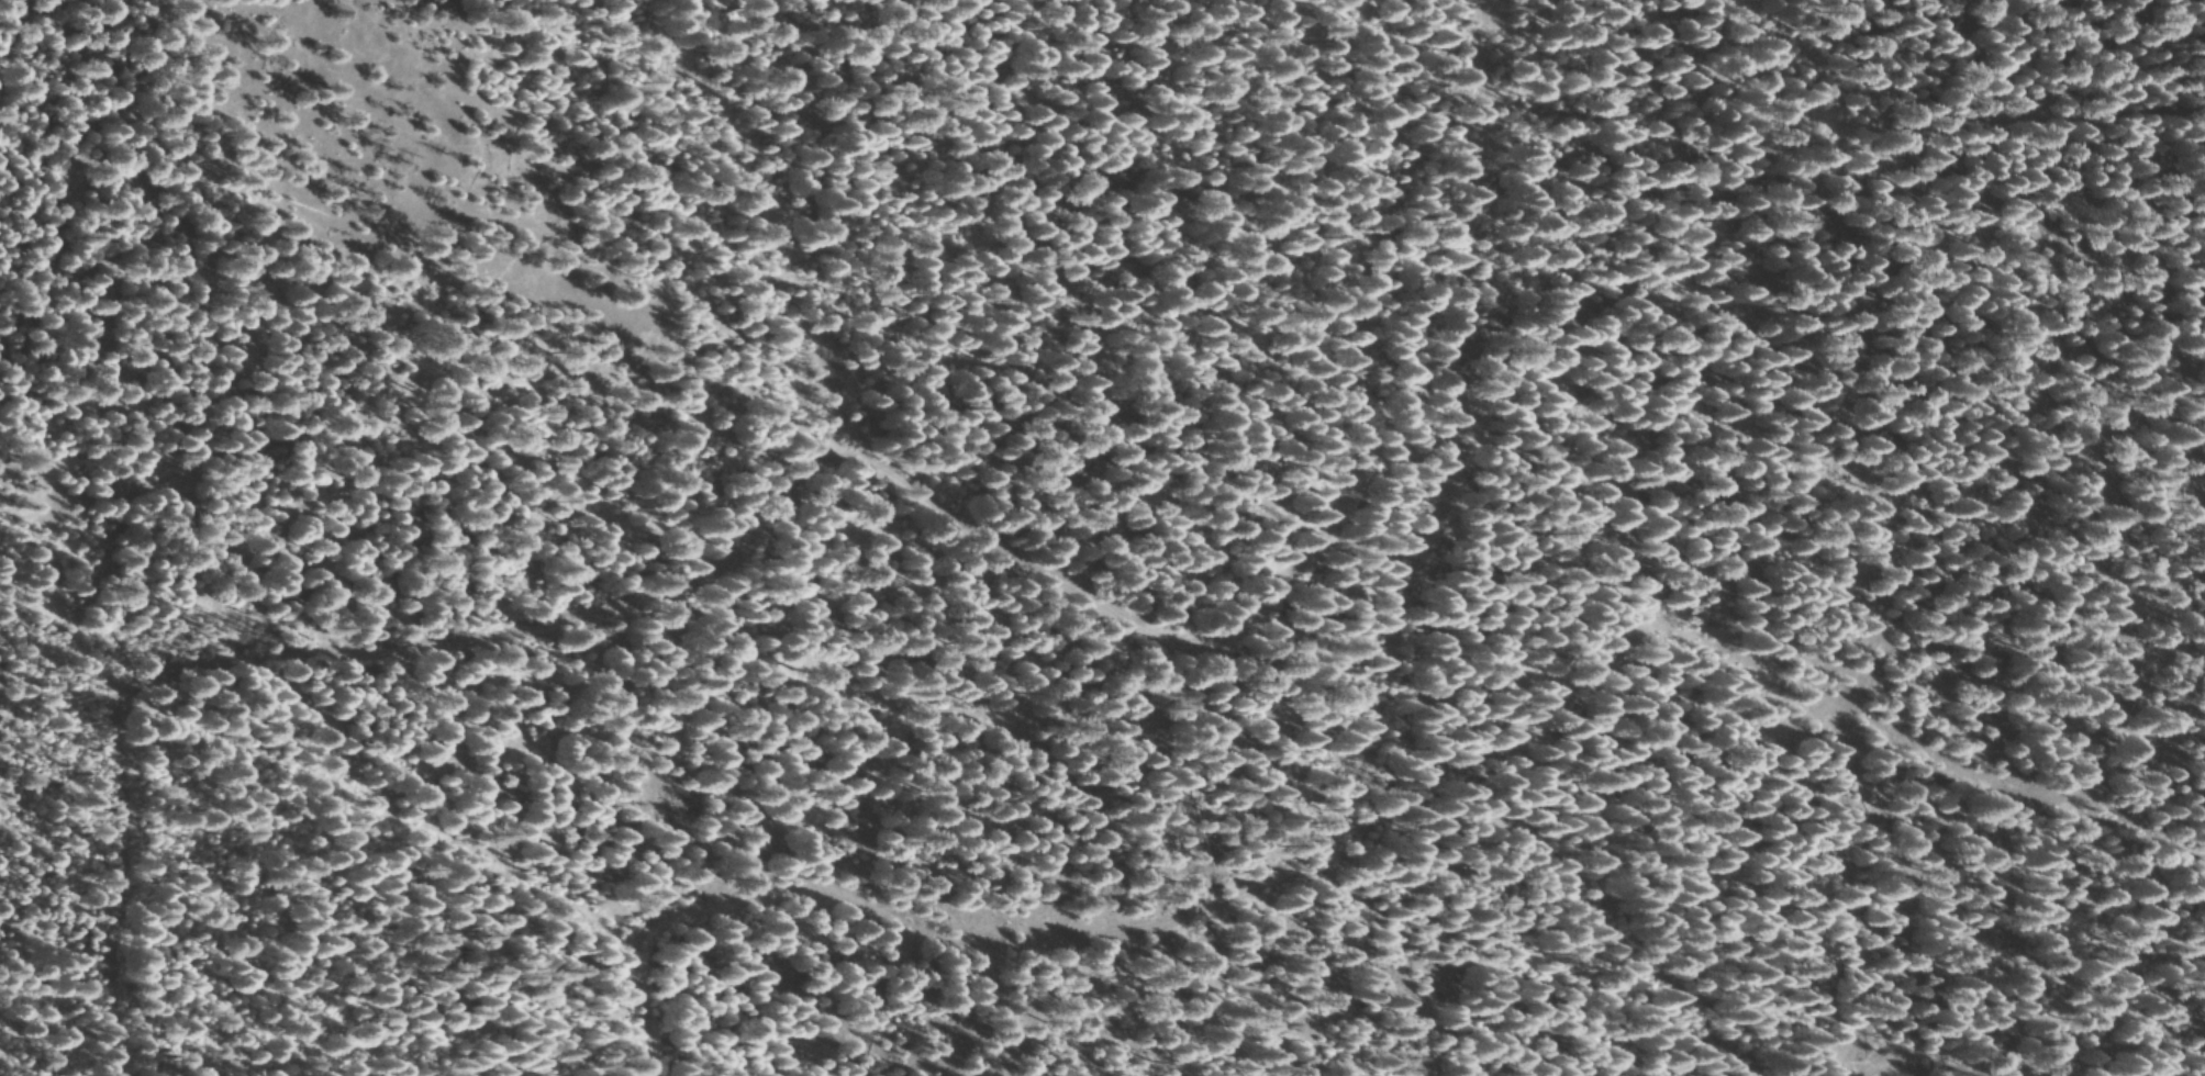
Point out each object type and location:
road: (754, 595)
road: (1757, 753)
road: (1243, 787)

